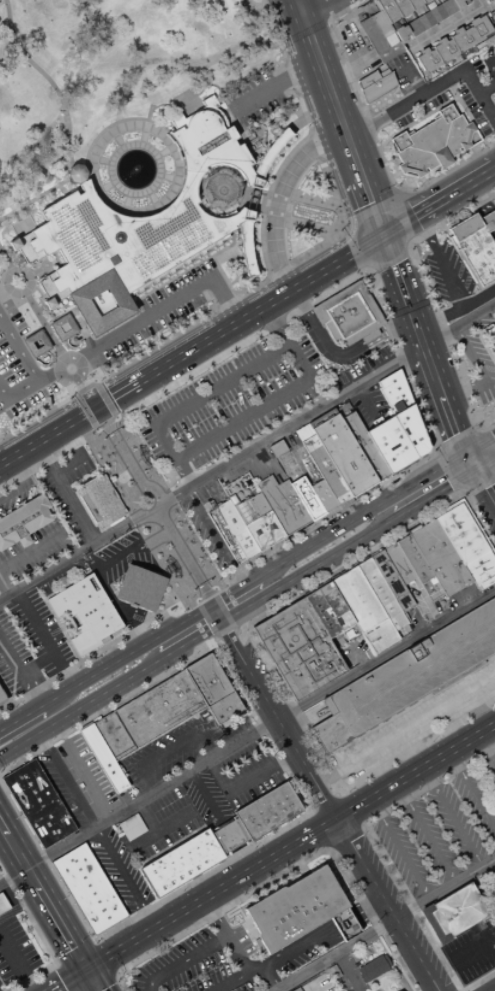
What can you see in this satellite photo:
building: (484, 0)
building: (492, 0)
building: (425, 1)
road: (434, 3)
building: (414, 4)
building: (458, 4)
road: (297, 7)
road: (312, 7)
building: (401, 7)
building: (448, 7)
road: (489, 7)
road: (423, 9)
road: (324, 10)
building: (388, 10)
building: (437, 14)
road: (411, 16)
building: (493, 16)
building: (425, 21)
road: (400, 23)
building: (381, 24)
building: (414, 27)
road: (449, 27)
building: (479, 29)
road: (301, 30)
building: (402, 34)
building: (372, 36)
building: (390, 40)
building: (461, 40)
building: (444, 50)
park: (137, 52)
building: (390, 53)
park: (95, 58)
building: (427, 60)
road: (489, 65)
road: (325, 80)
road: (52, 85)
road: (275, 85)
building: (375, 85)
road: (432, 87)
road: (486, 87)
parking lot: (455, 93)
road: (307, 109)
road: (466, 113)
road: (492, 114)
road: (415, 120)
road: (372, 135)
building: (433, 143)
building: (269, 155)
road: (104, 160)
fountain: (133, 169)
road: (494, 172)
road: (52, 189)
building: (217, 189)
road: (226, 192)
road: (366, 192)
road: (253, 193)
road: (398, 194)
road: (456, 195)
road: (277, 199)
road: (476, 201)
parking lot: (491, 207)
road: (288, 211)
road: (368, 212)
road: (403, 221)
road: (488, 222)
road: (400, 228)
building: (136, 229)
road: (494, 231)
traffic signals: (384, 239)
building: (246, 243)
building: (476, 244)
road: (227, 247)
road: (350, 248)
road: (441, 260)
road: (390, 262)
road: (191, 268)
road: (395, 269)
road: (275, 272)
road: (423, 277)
road: (312, 300)
road: (167, 305)
road: (31, 306)
road: (456, 307)
road: (261, 312)
building: (349, 313)
road: (312, 325)
building: (61, 327)
road: (416, 329)
building: (331, 331)
road: (370, 335)
building: (369, 336)
road: (181, 337)
road: (373, 342)
building: (35, 343)
building: (493, 344)
road: (468, 353)
road: (78, 364)
road: (30, 373)
building: (389, 378)
road: (48, 379)
road: (434, 379)
road: (485, 388)
building: (394, 389)
road: (461, 390)
road: (318, 391)
road: (205, 394)
road: (86, 395)
road: (108, 398)
road: (116, 398)
road: (365, 400)
building: (400, 401)
parking lot: (231, 402)
road: (268, 404)
road: (323, 404)
building: (405, 411)
road: (464, 411)
traffic signals: (96, 412)
road: (74, 418)
building: (411, 425)
road: (100, 427)
road: (451, 427)
traffic signals: (453, 432)
road: (455, 436)
traffic signals: (493, 436)
road: (48, 440)
building: (396, 440)
road: (490, 440)
building: (420, 443)
road: (479, 443)
building: (365, 444)
building: (276, 448)
building: (383, 448)
road: (298, 453)
building: (344, 453)
road: (468, 461)
road: (43, 462)
road: (484, 462)
road: (402, 465)
road: (78, 470)
road: (132, 471)
road: (445, 473)
road: (232, 482)
road: (23, 485)
traffic signals: (446, 485)
road: (482, 485)
road: (483, 488)
traffic signals: (484, 490)
road: (433, 492)
building: (322, 495)
road: (67, 496)
building: (100, 501)
building: (293, 502)
building: (309, 503)
road: (475, 504)
building: (277, 505)
park: (154, 514)
road: (360, 515)
building: (23, 520)
building: (259, 520)
building: (455, 522)
road: (314, 525)
building: (241, 526)
building: (233, 530)
road: (483, 530)
building: (225, 535)
road: (215, 538)
building: (466, 541)
road: (30, 548)
building: (449, 551)
building: (472, 551)
road: (364, 554)
road: (122, 556)
building: (441, 557)
road: (77, 558)
building: (403, 561)
building: (431, 561)
building: (479, 563)
building: (396, 564)
building: (419, 566)
road: (188, 569)
road: (306, 569)
building: (387, 573)
building: (484, 577)
road: (235, 581)
road: (6, 588)
building: (140, 588)
road: (213, 592)
road: (233, 592)
building: (382, 594)
road: (204, 597)
road: (292, 601)
road: (195, 602)
building: (335, 605)
road: (221, 609)
building: (364, 609)
road: (184, 612)
building: (85, 613)
building: (322, 613)
road: (214, 614)
road: (205, 618)
road: (226, 628)
road: (215, 636)
road: (189, 640)
road: (46, 642)
building: (298, 648)
road: (385, 652)
road: (227, 657)
road: (122, 658)
road: (83, 662)
building: (407, 675)
road: (18, 678)
road: (98, 694)
building: (2, 697)
road: (286, 697)
building: (168, 706)
road: (478, 711)
road: (32, 713)
road: (95, 715)
road: (32, 723)
road: (14, 724)
road: (405, 730)
road: (263, 733)
road: (18, 741)
road: (420, 744)
road: (488, 746)
parking lot: (177, 748)
road: (168, 749)
building: (103, 759)
road: (262, 772)
road: (416, 773)
parking lot: (245, 774)
parking lot: (86, 775)
parking lot: (63, 787)
road: (472, 792)
road: (203, 793)
road: (345, 795)
parking lot: (207, 800)
road: (138, 801)
road: (324, 801)
building: (37, 803)
road: (329, 805)
road: (354, 810)
building: (267, 811)
road: (313, 812)
road: (151, 813)
road: (453, 818)
parking lot: (158, 825)
road: (2, 826)
road: (162, 826)
road: (322, 828)
parking lot: (440, 828)
road: (97, 830)
road: (2, 832)
road: (346, 833)
road: (426, 834)
road: (314, 835)
building: (228, 836)
road: (328, 847)
road: (400, 851)
road: (382, 857)
building: (72, 862)
building: (180, 862)
parking lot: (118, 869)
road: (491, 870)
road: (284, 873)
building: (81, 877)
building: (85, 884)
road: (446, 890)
building: (90, 893)
building: (96, 900)
road: (45, 901)
building: (3, 904)
road: (20, 905)
road: (367, 906)
building: (294, 909)
road: (188, 910)
building: (452, 913)
building: (104, 915)
road: (343, 920)
building: (345, 924)
road: (120, 925)
road: (226, 937)
road: (41, 939)
road: (297, 946)
parking lot: (472, 949)
road: (474, 949)
road: (74, 952)
road: (336, 955)
road: (105, 957)
road: (183, 962)
parking lot: (198, 964)
road: (16, 965)
building: (374, 967)
traffic signals: (86, 972)
road: (346, 973)
road: (61, 977)
road: (239, 979)
road: (267, 979)
road: (70, 981)
road: (92, 981)
road: (107, 985)
road: (313, 988)
building: (296, 989)
building: (399, 990)
road: (460, 990)

